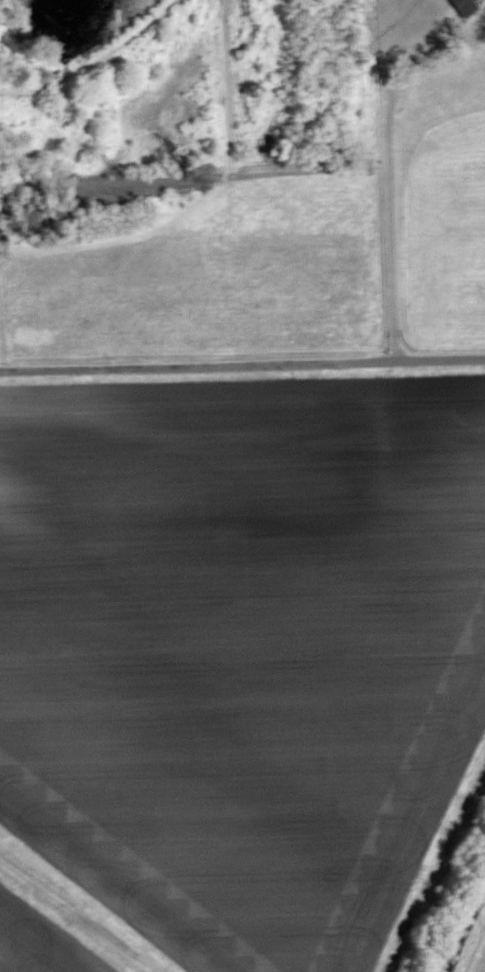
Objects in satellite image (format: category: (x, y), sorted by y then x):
building: (466, 7)
road: (388, 164)
road: (242, 355)

